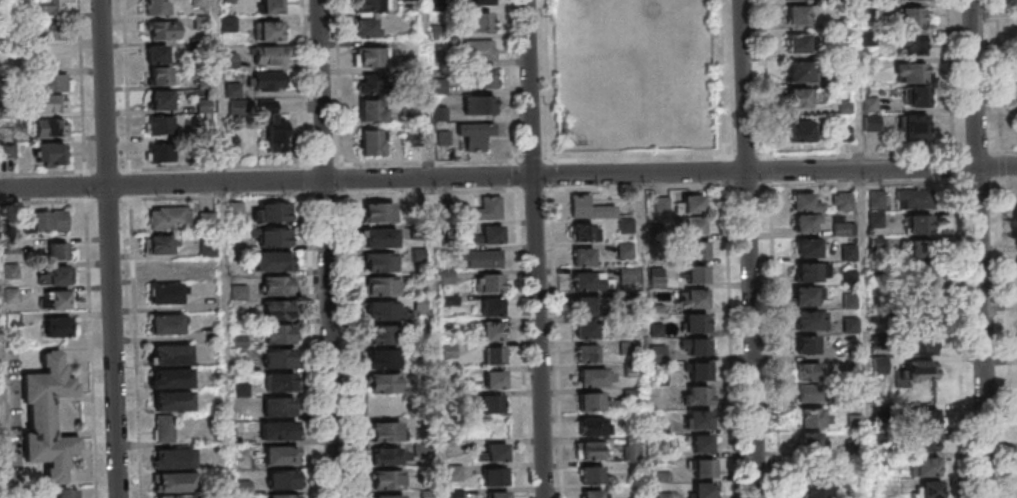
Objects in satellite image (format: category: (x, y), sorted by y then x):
building: (227, 0)
building: (481, 1)
building: (371, 5)
building: (272, 6)
building: (157, 7)
building: (50, 8)
building: (798, 14)
building: (911, 16)
building: (480, 21)
building: (367, 26)
building: (161, 29)
building: (271, 30)
building: (44, 32)
building: (799, 43)
building: (912, 43)
building: (478, 50)
building: (157, 54)
building: (270, 54)
building: (370, 56)
building: (230, 59)
building: (800, 71)
building: (910, 72)
building: (161, 75)
building: (478, 78)
road: (770, 78)
building: (267, 80)
building: (53, 82)
building: (370, 83)
road: (130, 85)
building: (914, 96)
building: (798, 97)
building: (161, 99)
building: (50, 103)
building: (478, 104)
building: (371, 110)
building: (871, 123)
building: (159, 125)
building: (272, 127)
building: (915, 127)
building: (51, 128)
building: (801, 130)
building: (474, 134)
building: (7, 142)
building: (372, 142)
building: (51, 153)
building: (161, 153)
road: (536, 162)
road: (508, 177)
road: (1012, 180)
road: (981, 182)
building: (876, 198)
building: (915, 199)
building: (842, 201)
building: (806, 202)
building: (662, 204)
building: (697, 206)
building: (589, 207)
building: (486, 208)
building: (239, 211)
building: (276, 214)
building: (381, 214)
building: (168, 218)
building: (876, 219)
building: (49, 221)
building: (804, 222)
building: (919, 224)
building: (625, 225)
building: (698, 227)
building: (654, 228)
building: (843, 228)
building: (581, 231)
building: (494, 237)
building: (277, 239)
building: (383, 240)
building: (163, 244)
road: (90, 248)
road: (114, 248)
building: (809, 248)
road: (330, 249)
road: (538, 249)
road: (753, 249)
road: (984, 249)
building: (58, 250)
building: (212, 250)
building: (624, 250)
building: (849, 251)
building: (701, 252)
building: (582, 256)
building: (481, 258)
building: (275, 263)
building: (383, 264)
building: (160, 268)
building: (240, 270)
building: (809, 271)
building: (213, 274)
building: (54, 275)
building: (700, 276)
building: (919, 276)
building: (586, 282)
building: (493, 285)
building: (280, 287)
building: (384, 287)
building: (241, 292)
building: (167, 293)
building: (805, 296)
building: (56, 299)
building: (699, 300)
building: (590, 307)
building: (494, 309)
building: (280, 311)
building: (385, 312)
building: (810, 320)
building: (167, 324)
building: (700, 325)
road: (779, 326)
building: (57, 327)
road: (734, 327)
building: (587, 331)
road: (1012, 331)
building: (494, 333)
road: (138, 334)
building: (282, 335)
building: (385, 336)
road: (963, 340)
building: (921, 341)
building: (243, 343)
building: (808, 344)
building: (627, 347)
building: (703, 348)
building: (589, 355)
building: (173, 356)
building: (496, 358)
building: (281, 360)
building: (387, 361)
building: (244, 366)
building: (809, 371)
building: (923, 371)
building: (704, 372)
building: (426, 376)
building: (591, 379)
building: (174, 380)
building: (497, 382)
building: (283, 384)
building: (387, 384)
building: (246, 390)
building: (813, 392)
road: (4, 394)
building: (702, 397)
building: (453, 400)
building: (176, 403)
building: (591, 404)
building: (493, 406)
building: (282, 408)
building: (813, 417)
building: (50, 418)
building: (925, 418)
building: (697, 419)
building: (591, 429)
building: (167, 430)
building: (282, 432)
building: (388, 433)
building: (926, 441)
building: (810, 443)
building: (705, 445)
building: (631, 447)
building: (426, 450)
building: (593, 452)
building: (499, 454)
building: (284, 457)
building: (391, 457)
building: (177, 460)
building: (247, 463)
building: (924, 466)
building: (708, 470)
building: (457, 472)
building: (593, 477)
building: (498, 479)
building: (286, 480)
building: (390, 481)
building: (178, 484)
building: (814, 485)
building: (247, 487)
building: (931, 489)
building: (708, 491)
building: (66, 493)
building: (429, 494)
building: (457, 494)
building: (595, 495)
building: (174, 496)
building: (500, 496)
building: (245, 497)
building: (287, 497)
building: (391, 497)

